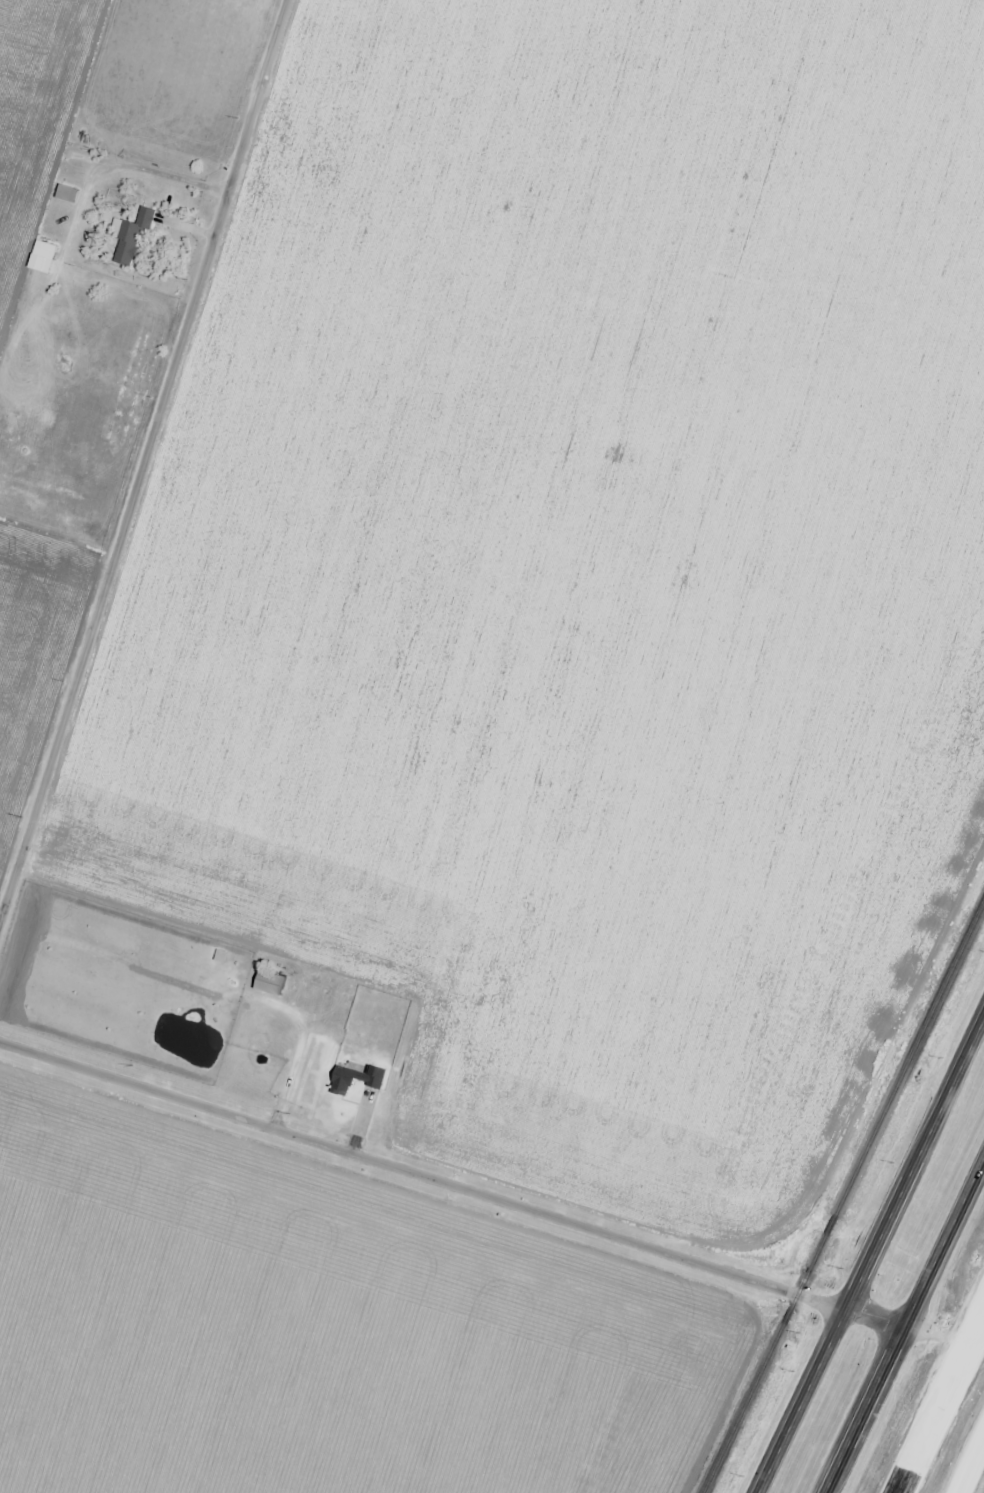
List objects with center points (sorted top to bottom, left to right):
road: (145, 498)
road: (914, 1167)
road: (422, 1171)
railway: (845, 1195)
road: (982, 1303)
road: (982, 1304)
road: (904, 1325)
road: (937, 1400)
road: (806, 1402)
road: (970, 1463)

